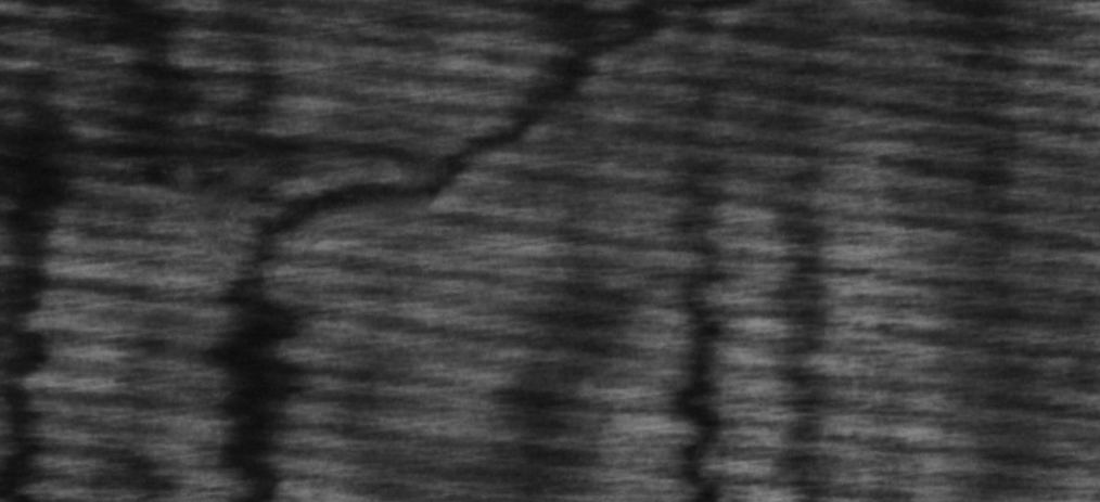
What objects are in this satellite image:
crop: (550, 250)

